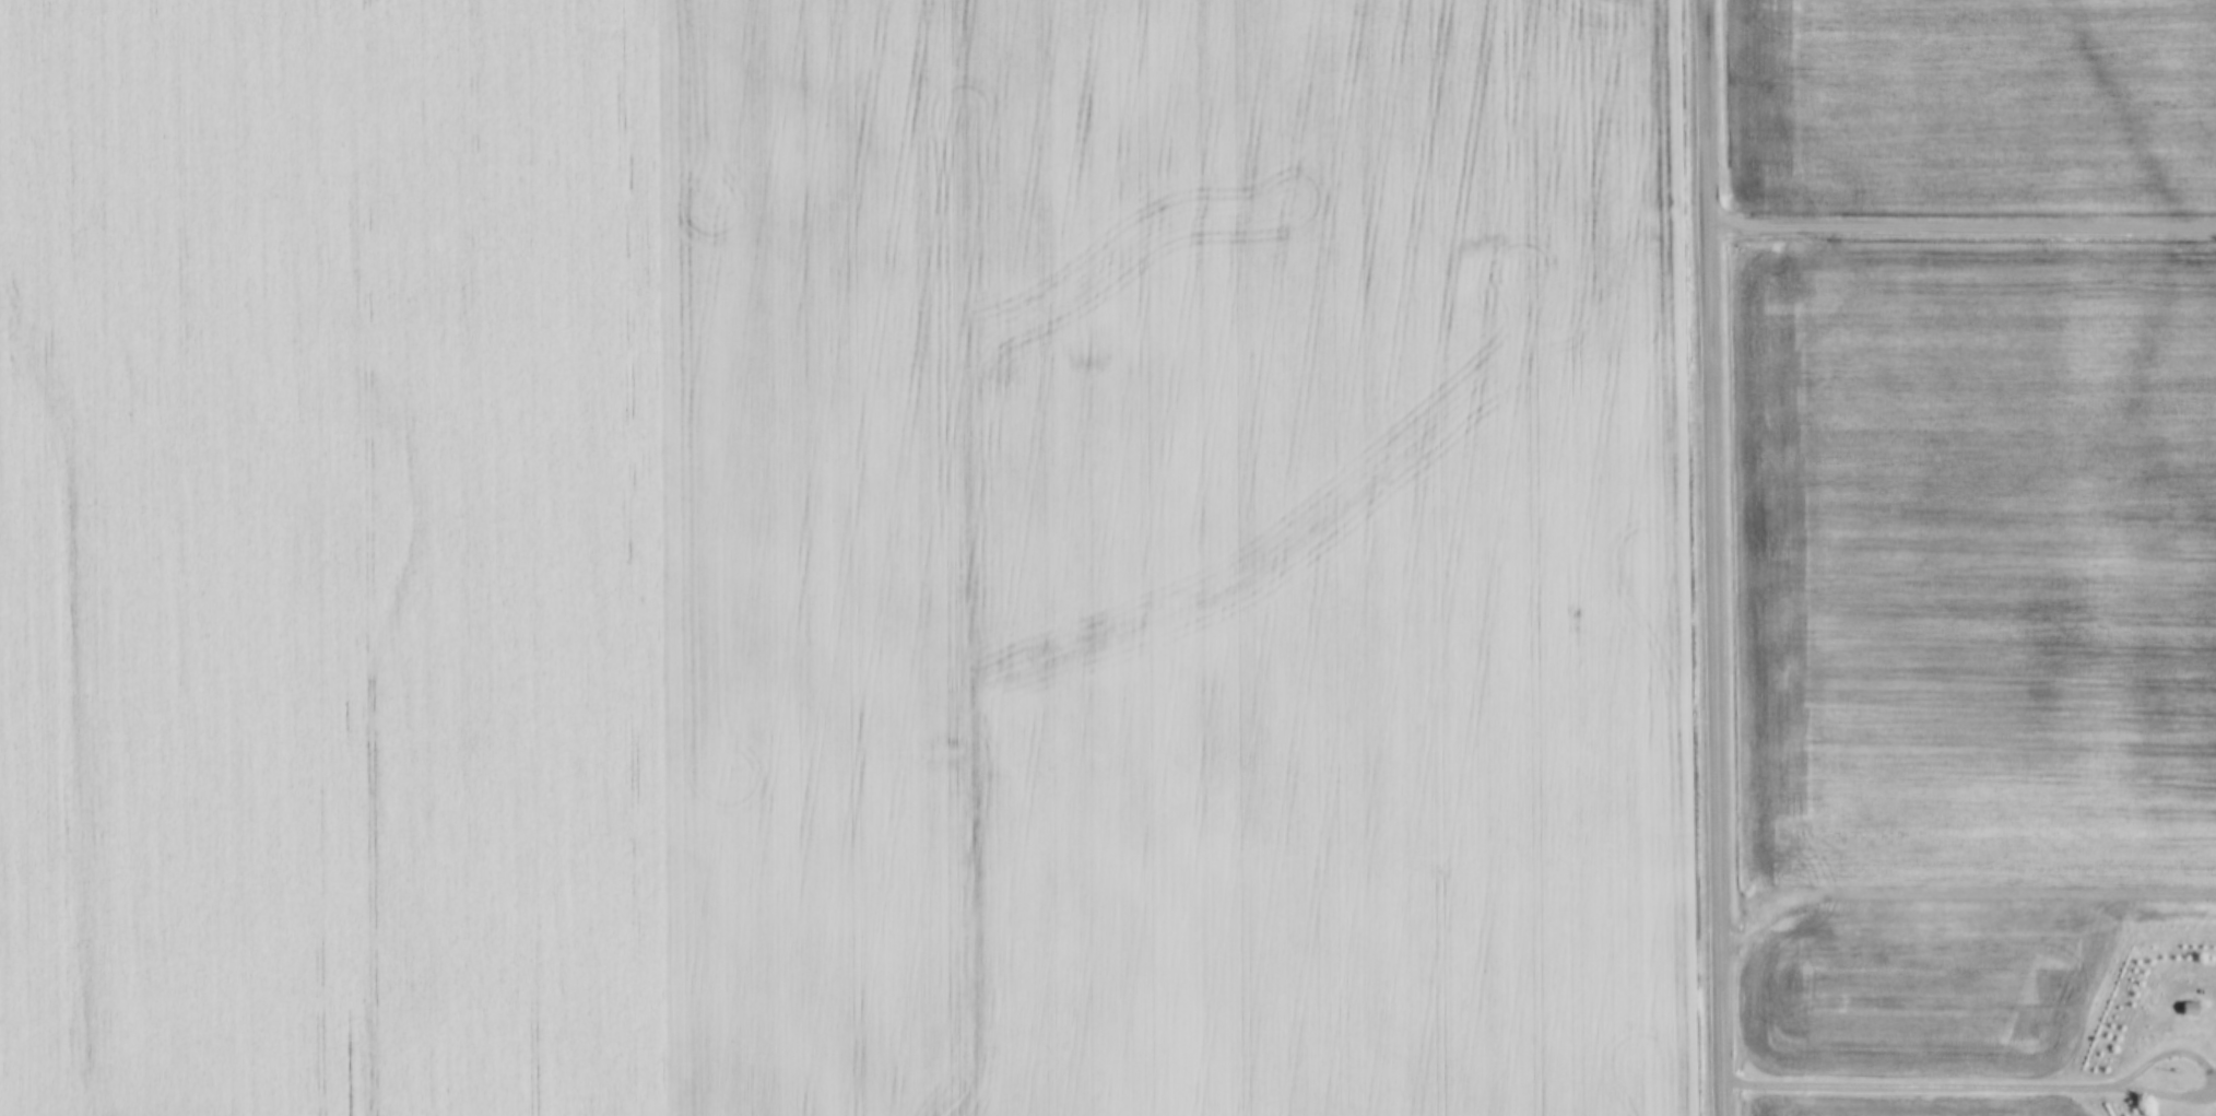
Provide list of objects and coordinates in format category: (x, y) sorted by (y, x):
road: (1960, 226)
road: (1714, 557)
road: (2030, 1085)

